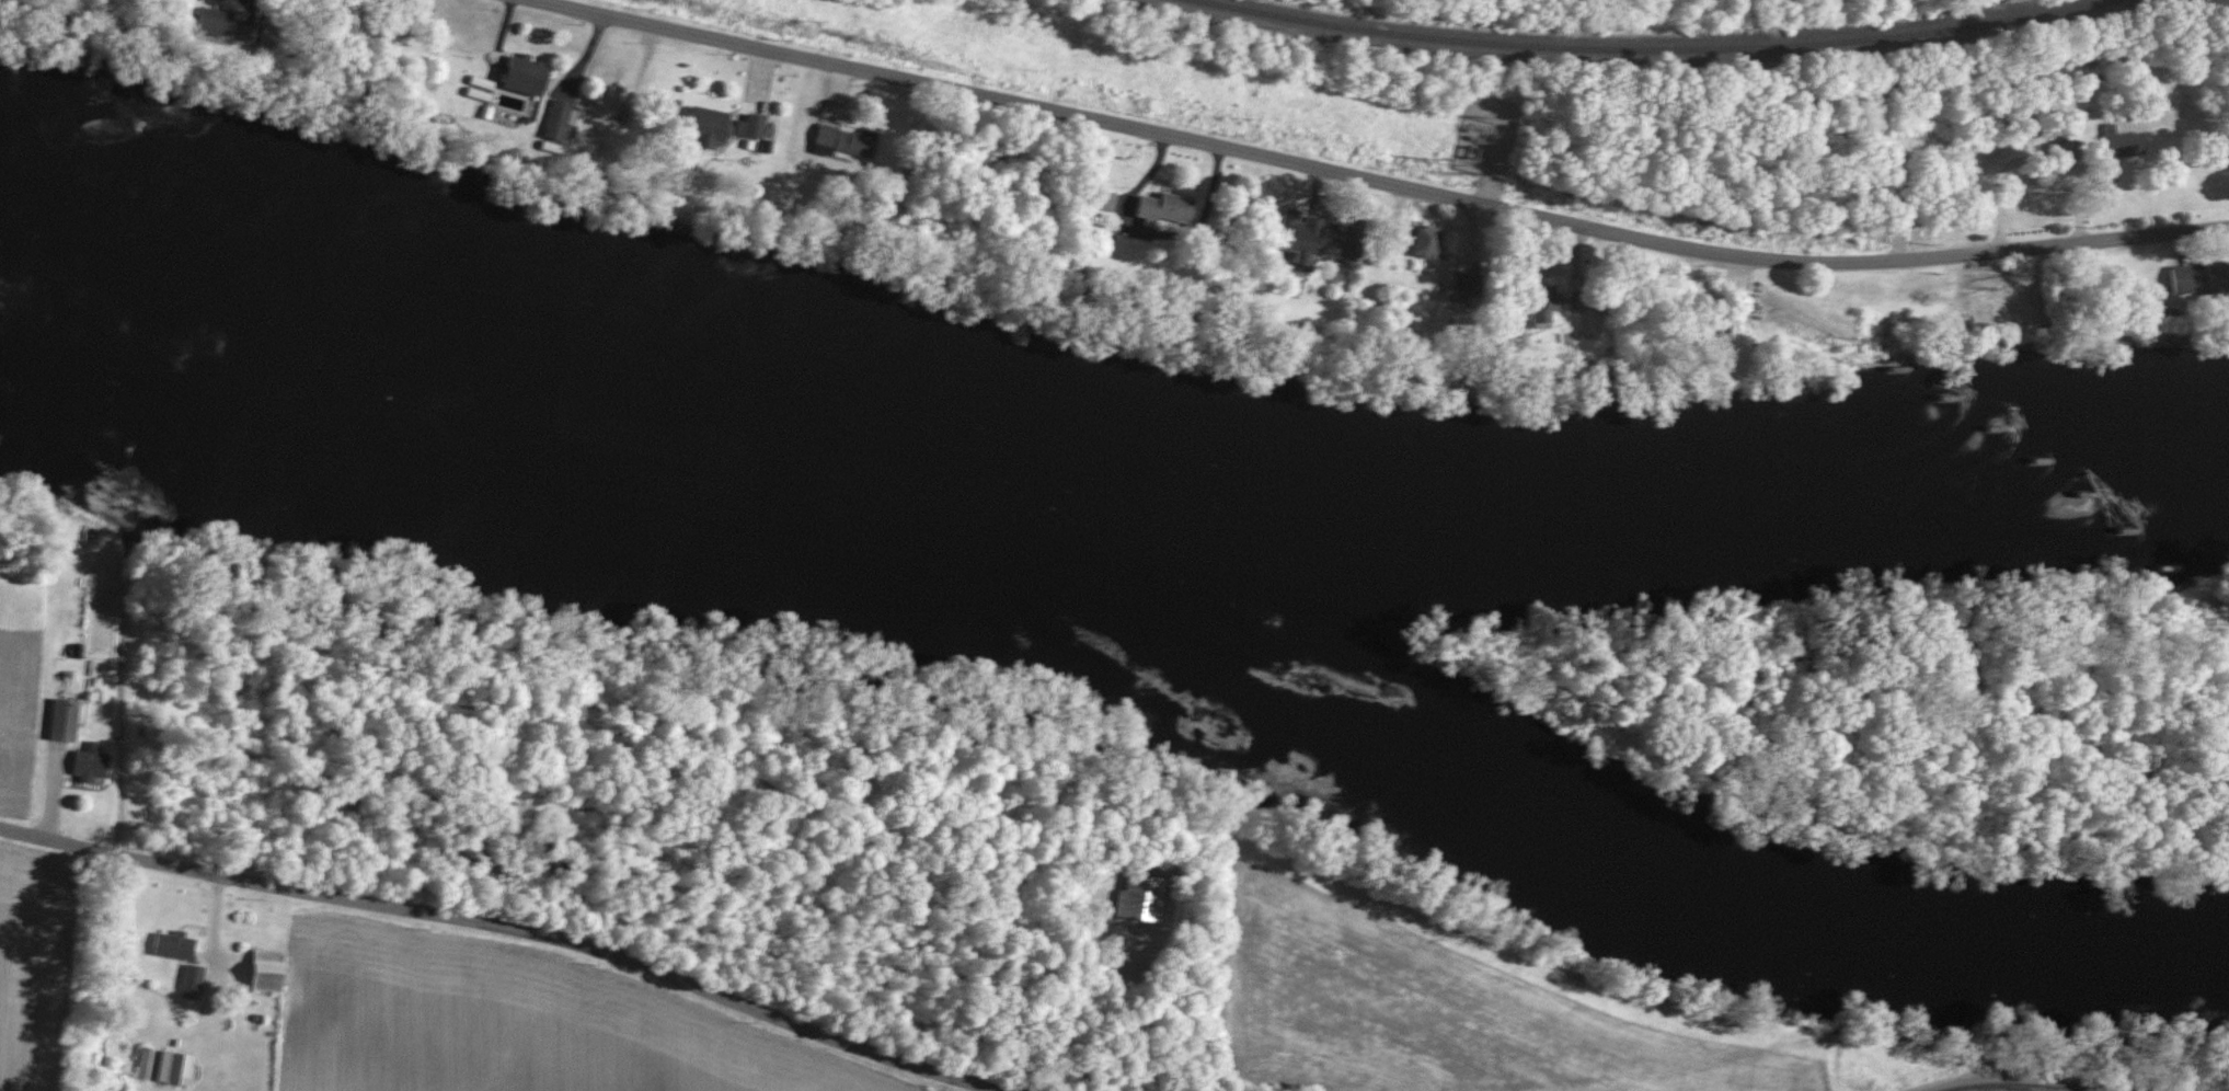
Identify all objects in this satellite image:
park: (1409, 5)
building: (221, 21)
railway: (1641, 48)
building: (532, 80)
building: (716, 122)
building: (568, 123)
building: (746, 126)
building: (769, 128)
building: (1479, 140)
building: (852, 141)
building: (2134, 146)
building: (2075, 152)
road: (1338, 184)
building: (1105, 205)
building: (1173, 214)
building: (1307, 234)
building: (1364, 239)
building: (1418, 242)
building: (1437, 242)
building: (2205, 283)
building: (1479, 297)
building: (1536, 305)
building: (1555, 308)
building: (2147, 310)
building: (1707, 335)
river: (1756, 518)
river: (1171, 519)
building: (65, 720)
building: (92, 761)
building: (1134, 899)
road: (519, 920)
building: (176, 944)
building: (272, 969)
building: (193, 980)
building: (143, 1063)
building: (176, 1067)
road: (2019, 1082)

